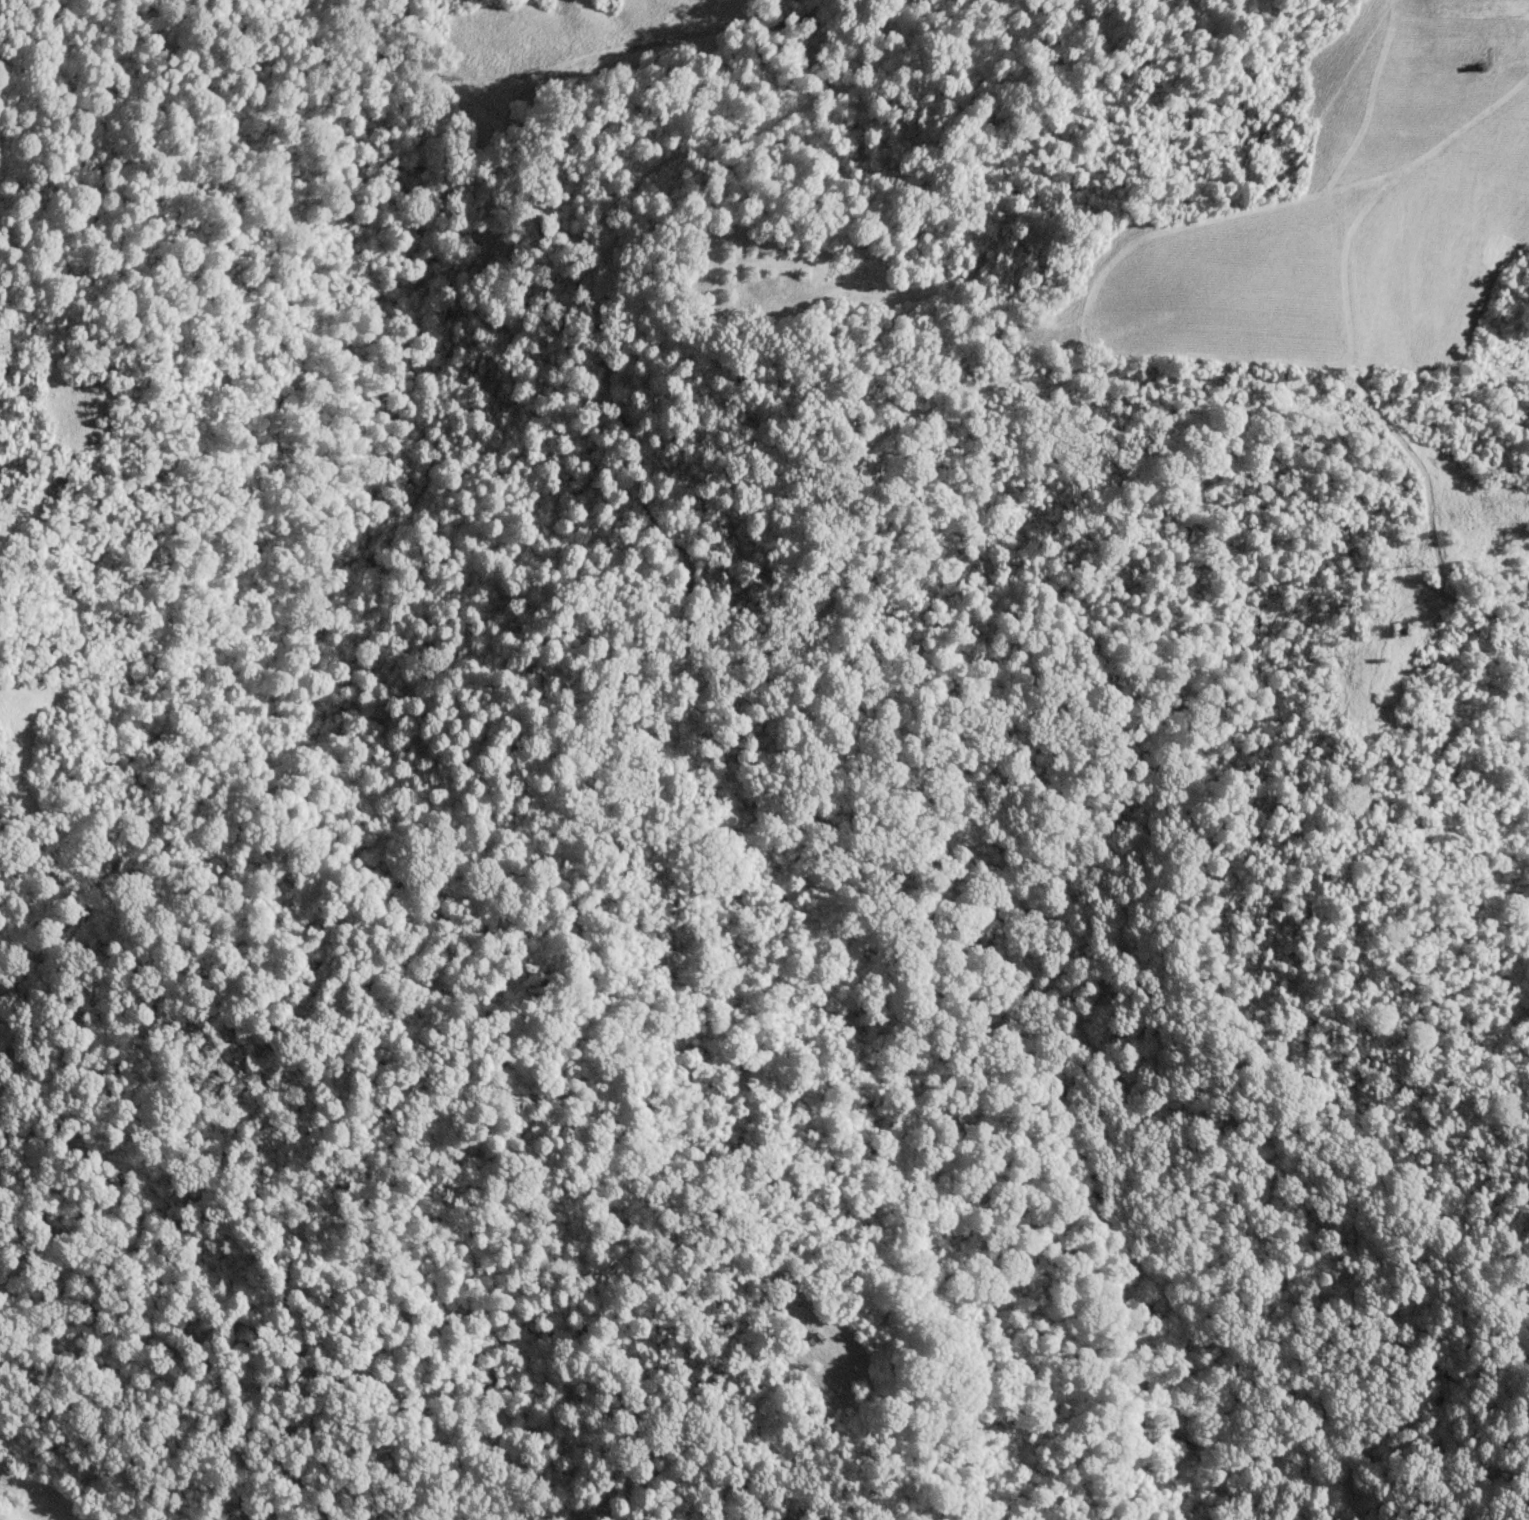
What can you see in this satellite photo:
building: (1401, 626)
road: (1180, 1054)

